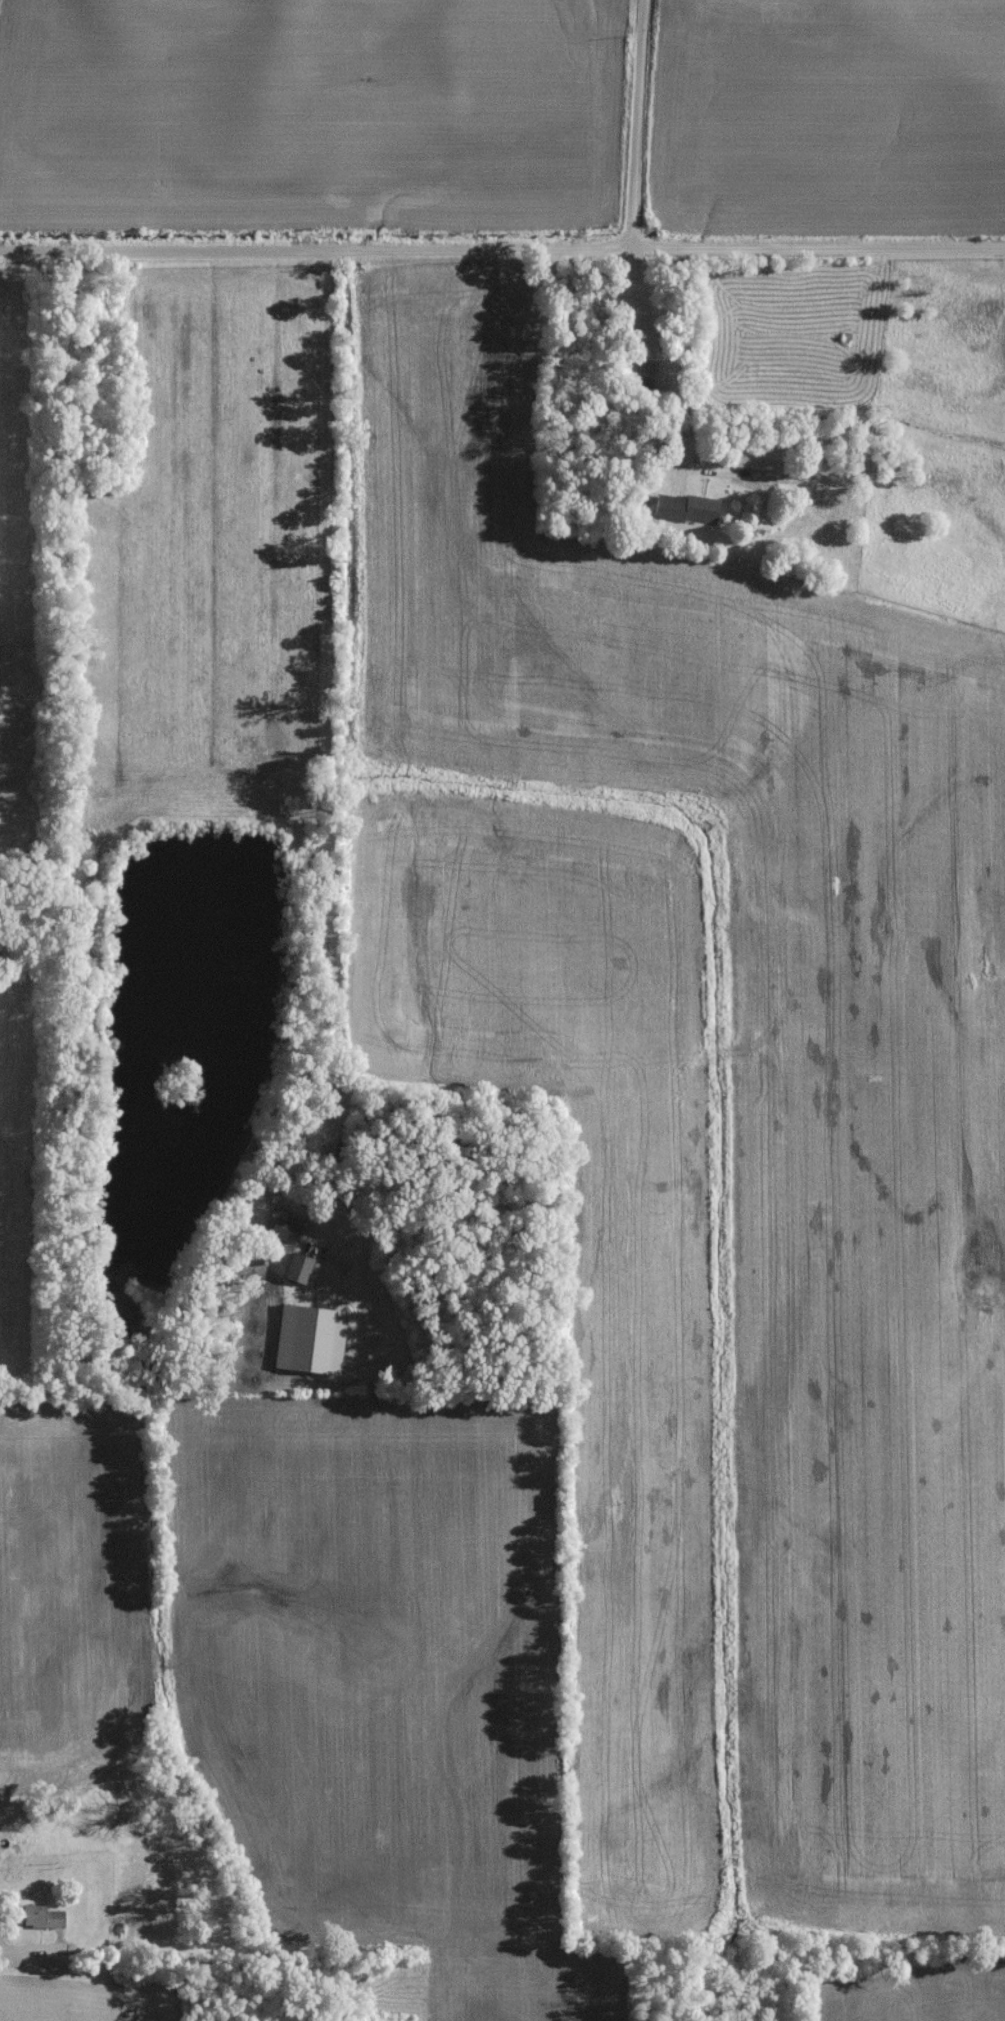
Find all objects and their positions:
building: (757, 6)
road: (635, 121)
road: (502, 251)
road: (681, 366)
building: (749, 464)
building: (685, 515)
road: (326, 749)
building: (283, 1236)
building: (43, 1922)
road: (37, 1949)

